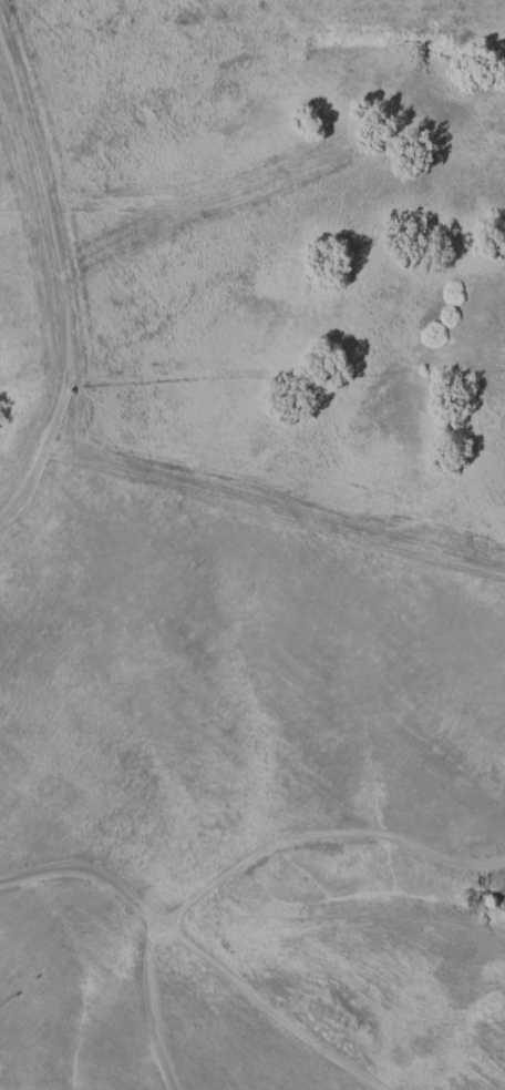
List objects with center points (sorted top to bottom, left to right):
road: (239, 866)
road: (203, 953)

